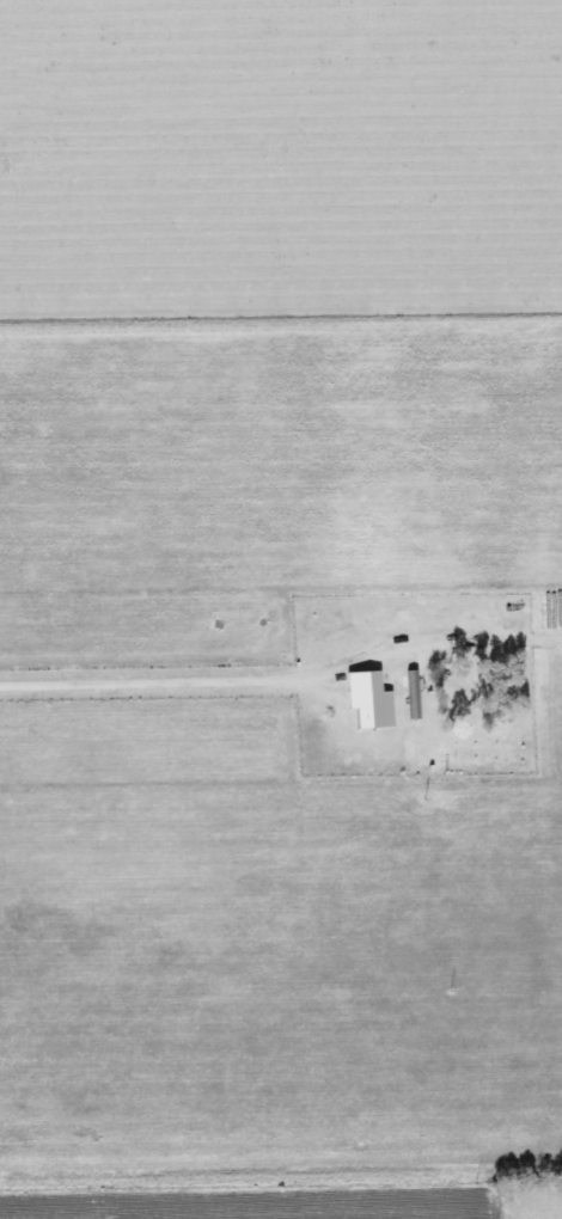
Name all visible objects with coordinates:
road: (226, 679)
building: (404, 694)

